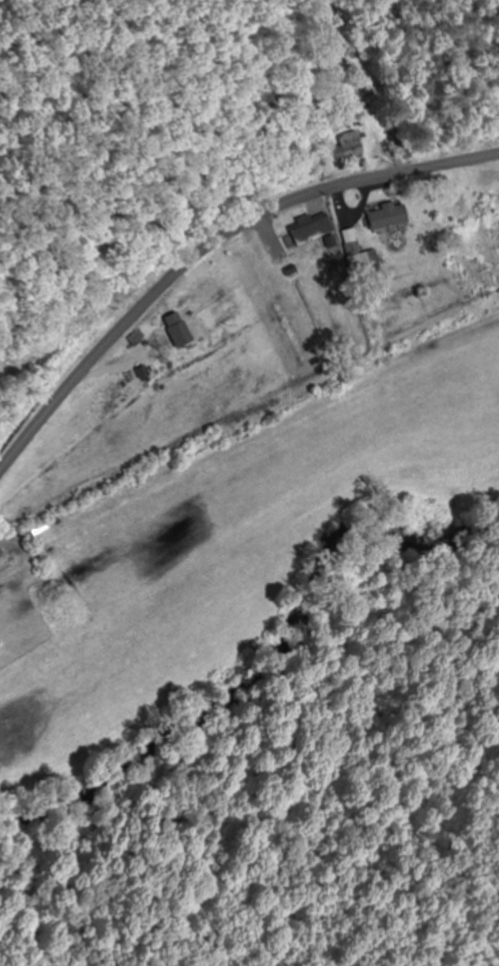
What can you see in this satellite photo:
building: (349, 146)
building: (388, 217)
building: (315, 233)
road: (209, 251)
building: (364, 259)

